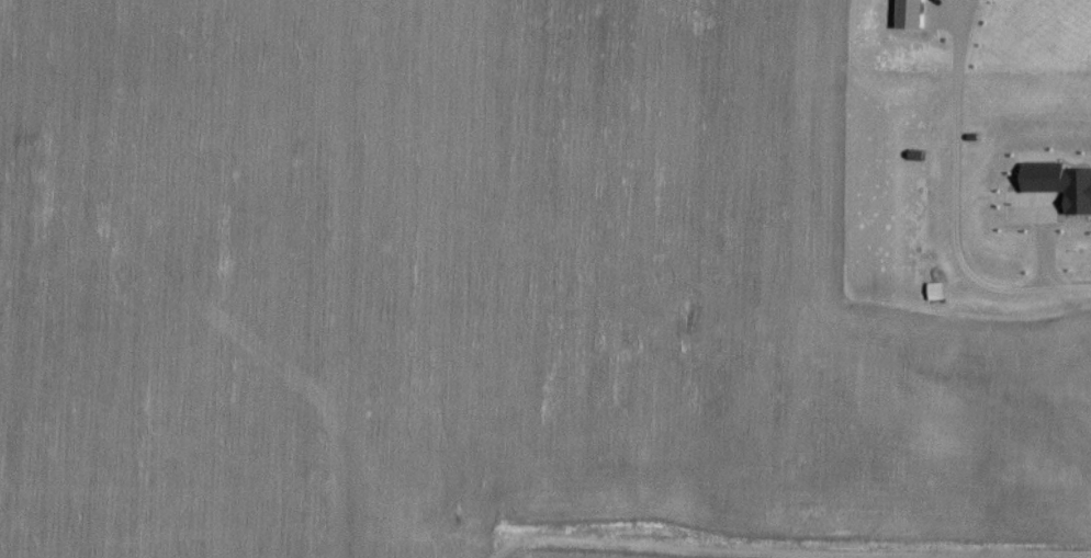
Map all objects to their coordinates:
building: (913, 13)
building: (1053, 186)
road: (953, 208)

